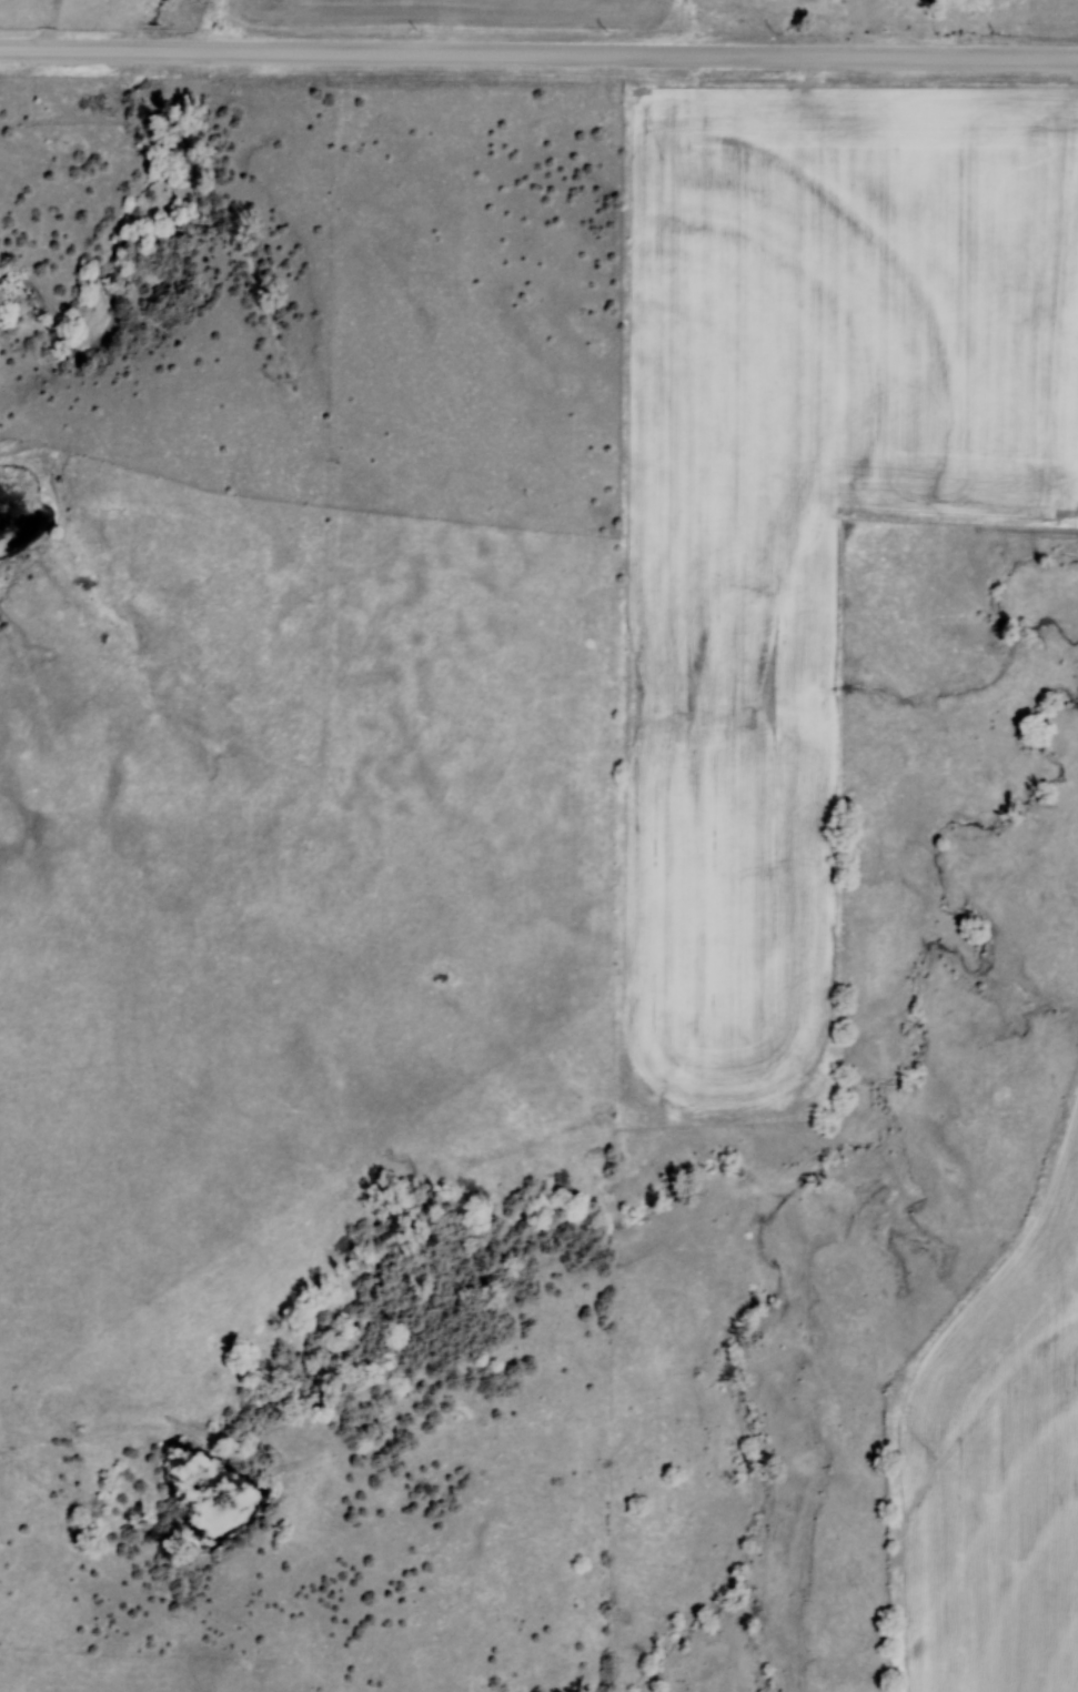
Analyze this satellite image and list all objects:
road: (538, 53)
crop: (808, 491)

